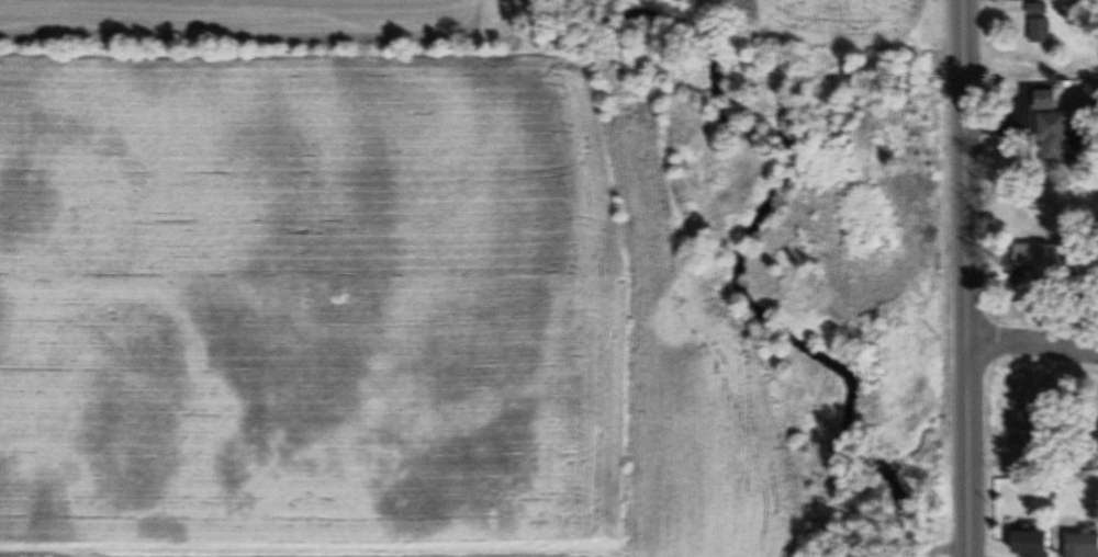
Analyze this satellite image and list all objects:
building: (1040, 10)
building: (1042, 31)
road: (961, 118)
building: (1055, 133)
building: (1043, 263)
road: (1033, 345)
road: (968, 396)
building: (1044, 425)
building: (1033, 544)
building: (1084, 545)

